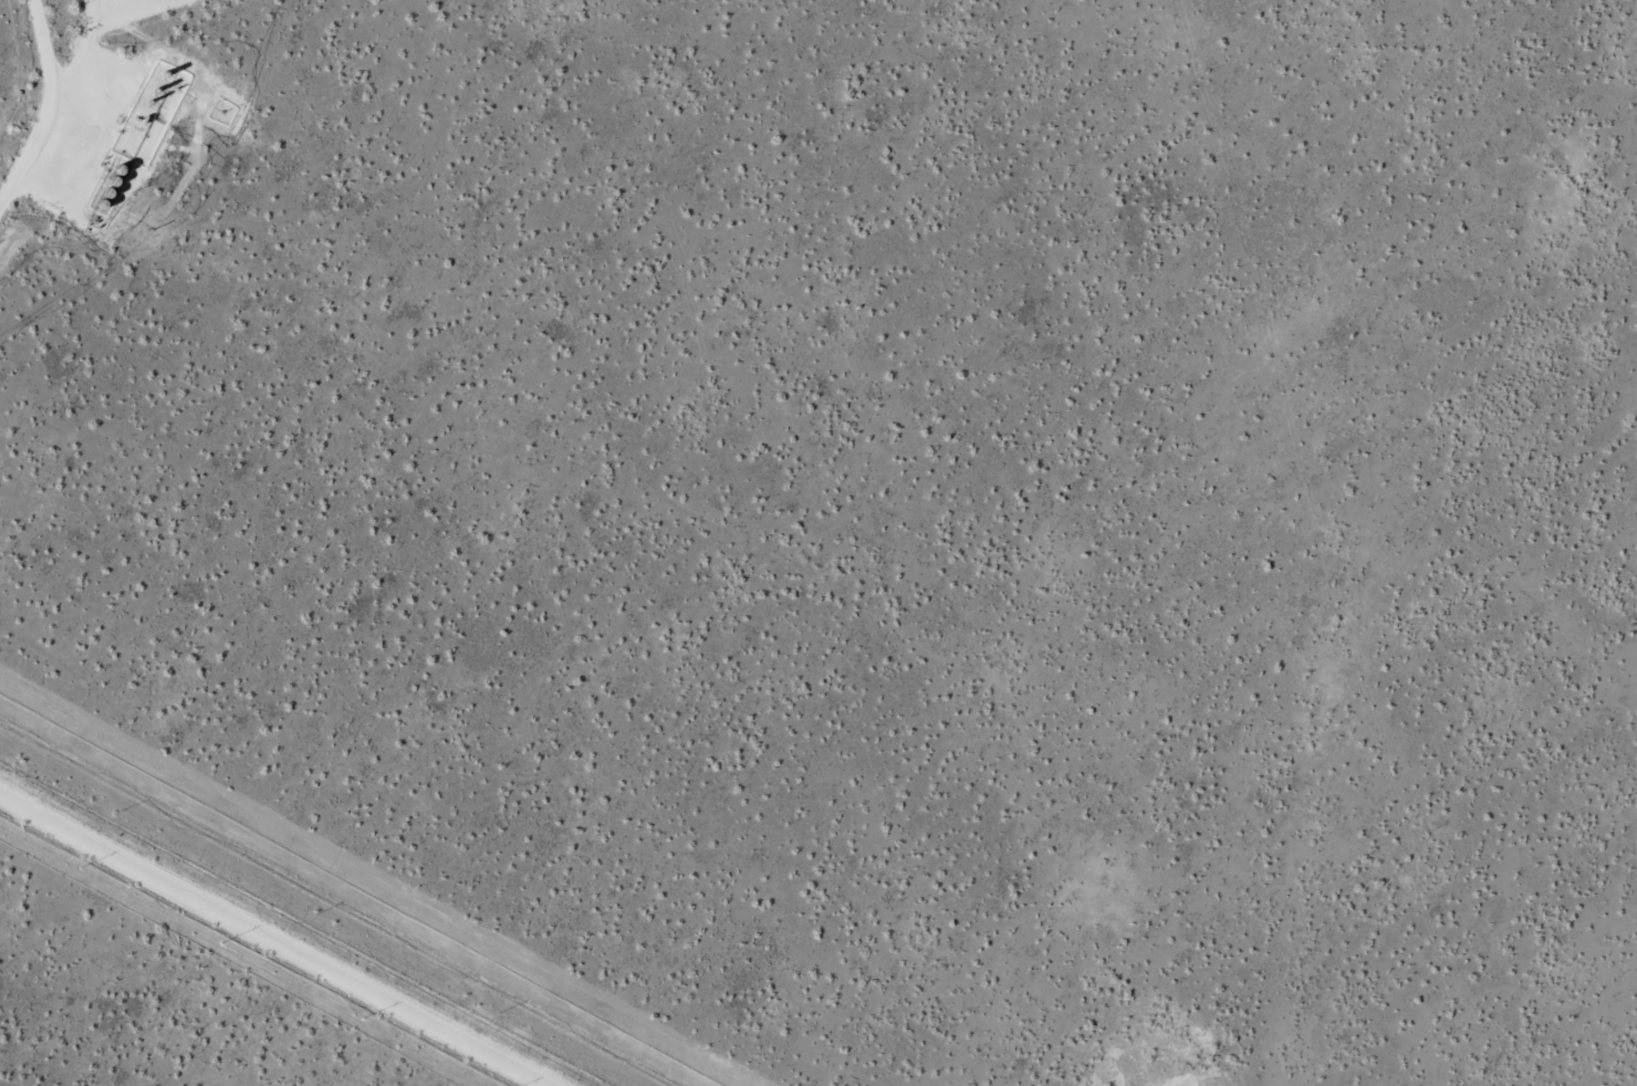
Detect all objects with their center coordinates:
road: (27, 1075)

